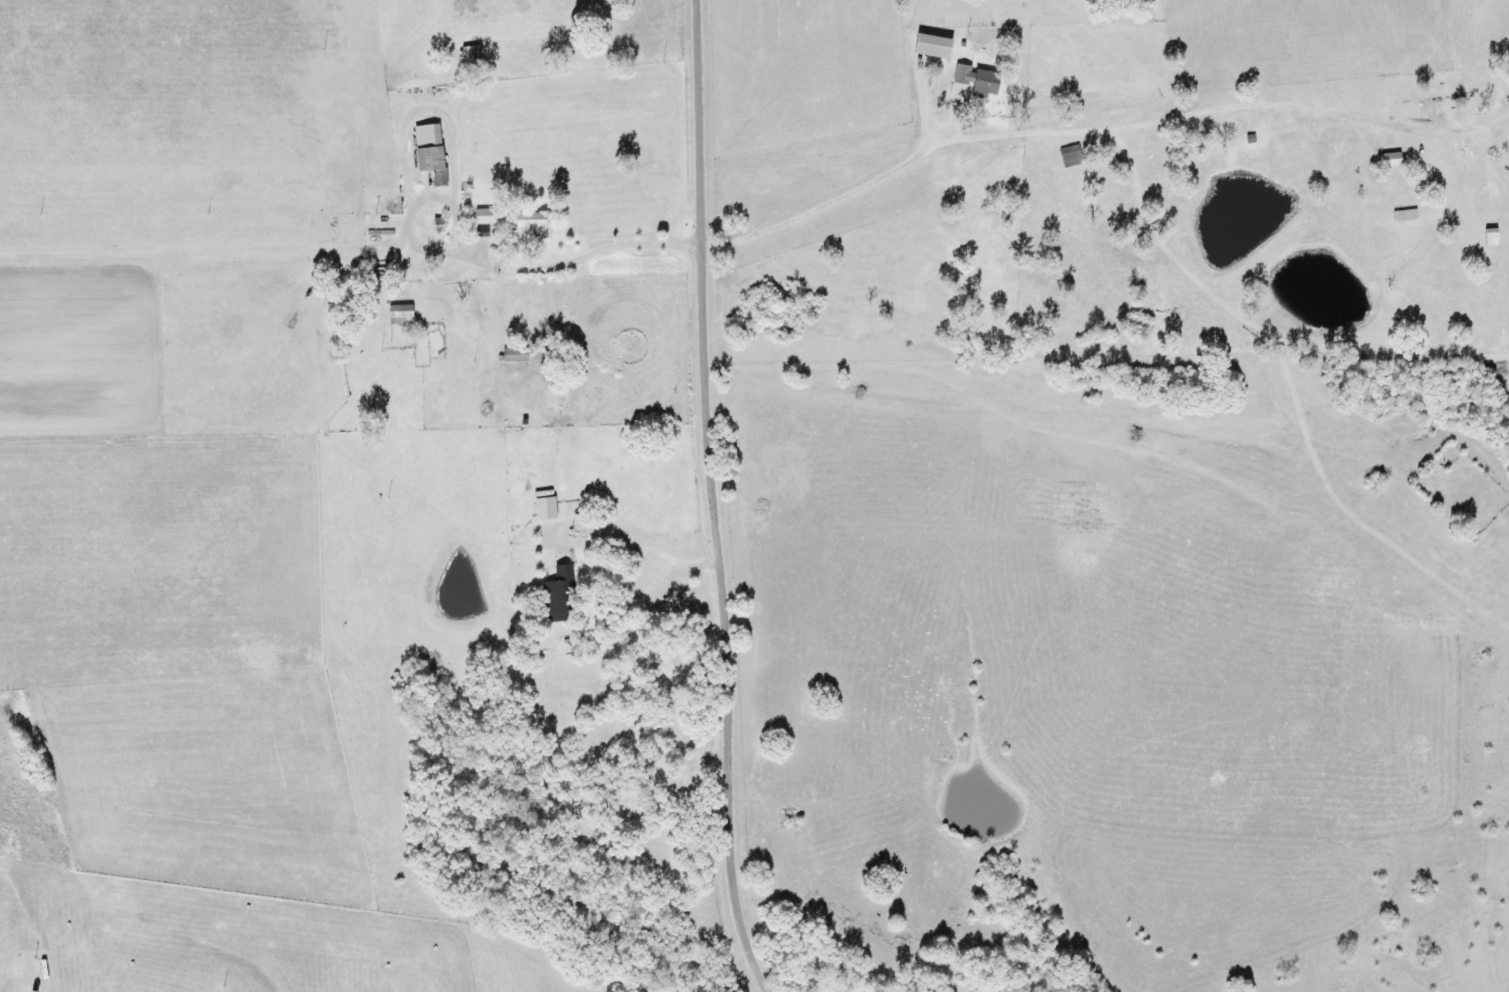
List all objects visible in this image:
building: (925, 46)
building: (464, 51)
building: (970, 78)
road: (1096, 128)
building: (424, 150)
building: (478, 216)
building: (1407, 217)
building: (529, 224)
building: (1486, 237)
building: (396, 315)
building: (511, 356)
road: (1119, 469)
road: (715, 499)
building: (539, 505)
building: (554, 596)
park: (673, 745)

